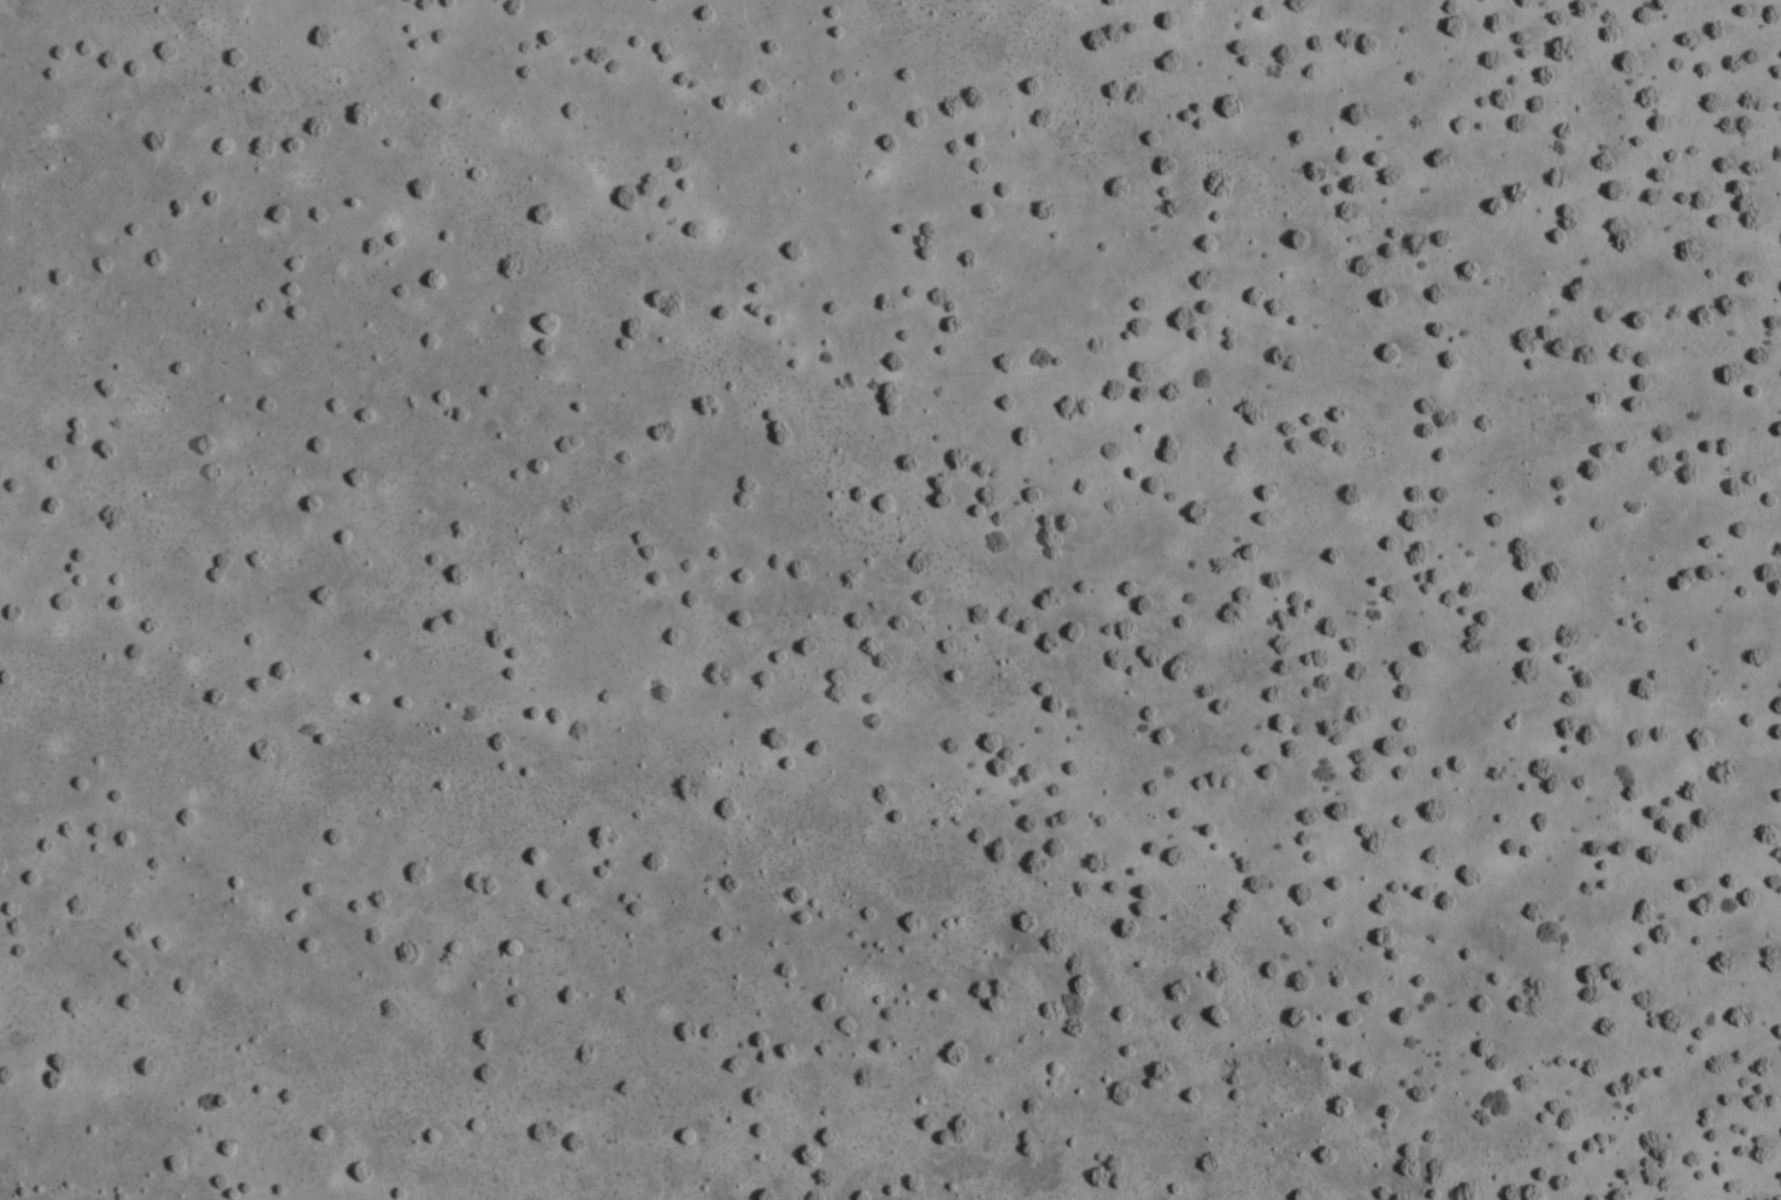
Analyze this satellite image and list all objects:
road: (1780, 0)

